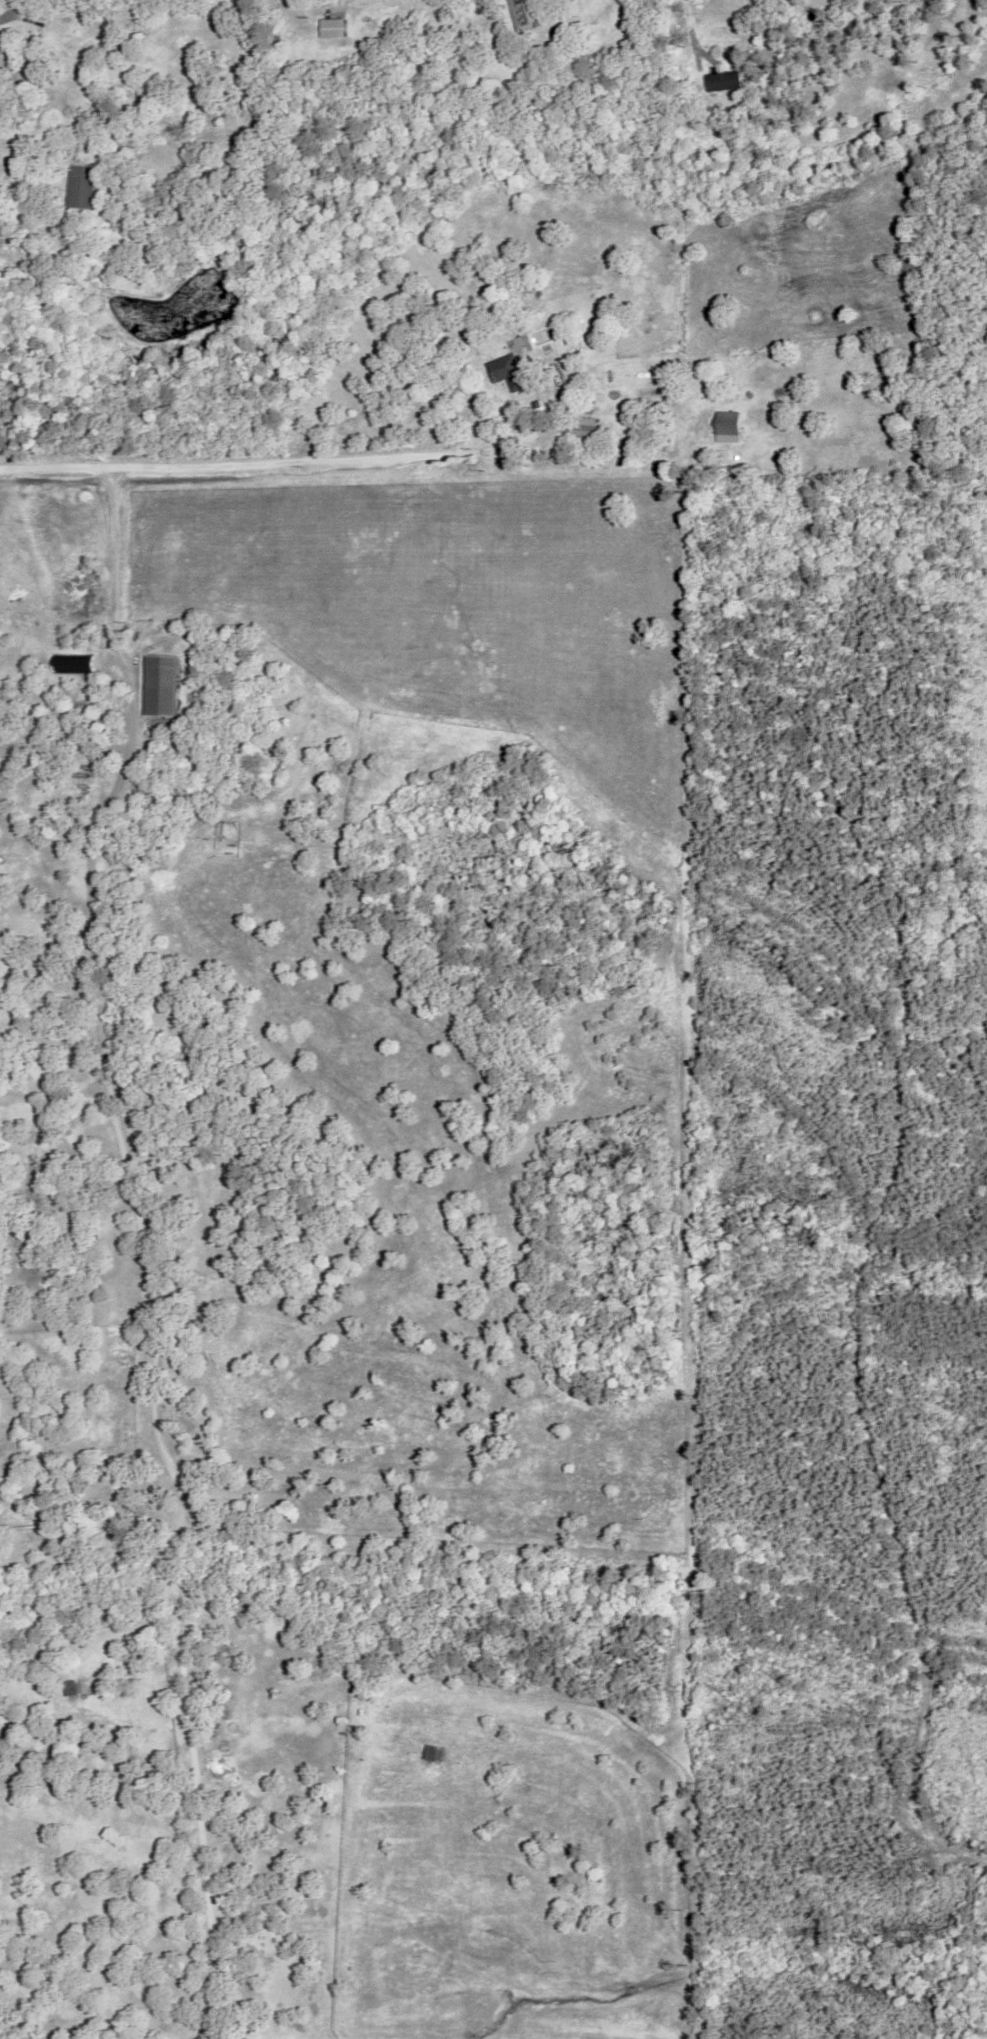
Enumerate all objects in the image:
building: (524, 13)
building: (334, 28)
road: (689, 30)
building: (540, 45)
building: (699, 80)
building: (719, 80)
building: (146, 90)
building: (695, 107)
building: (107, 117)
road: (11, 155)
building: (81, 184)
building: (505, 370)
building: (534, 402)
building: (580, 427)
building: (727, 427)
road: (259, 463)
building: (72, 664)
building: (161, 685)
road: (145, 1244)

